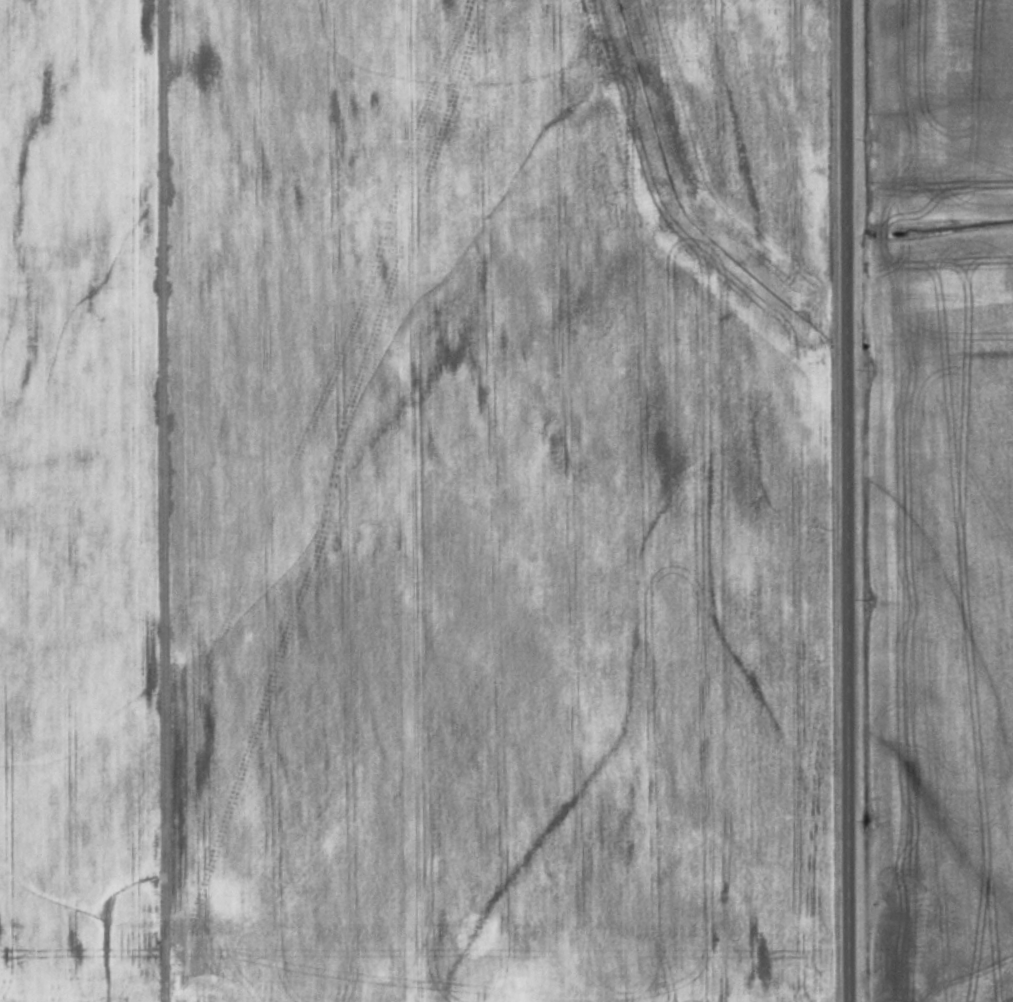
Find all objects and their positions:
road: (849, 501)

